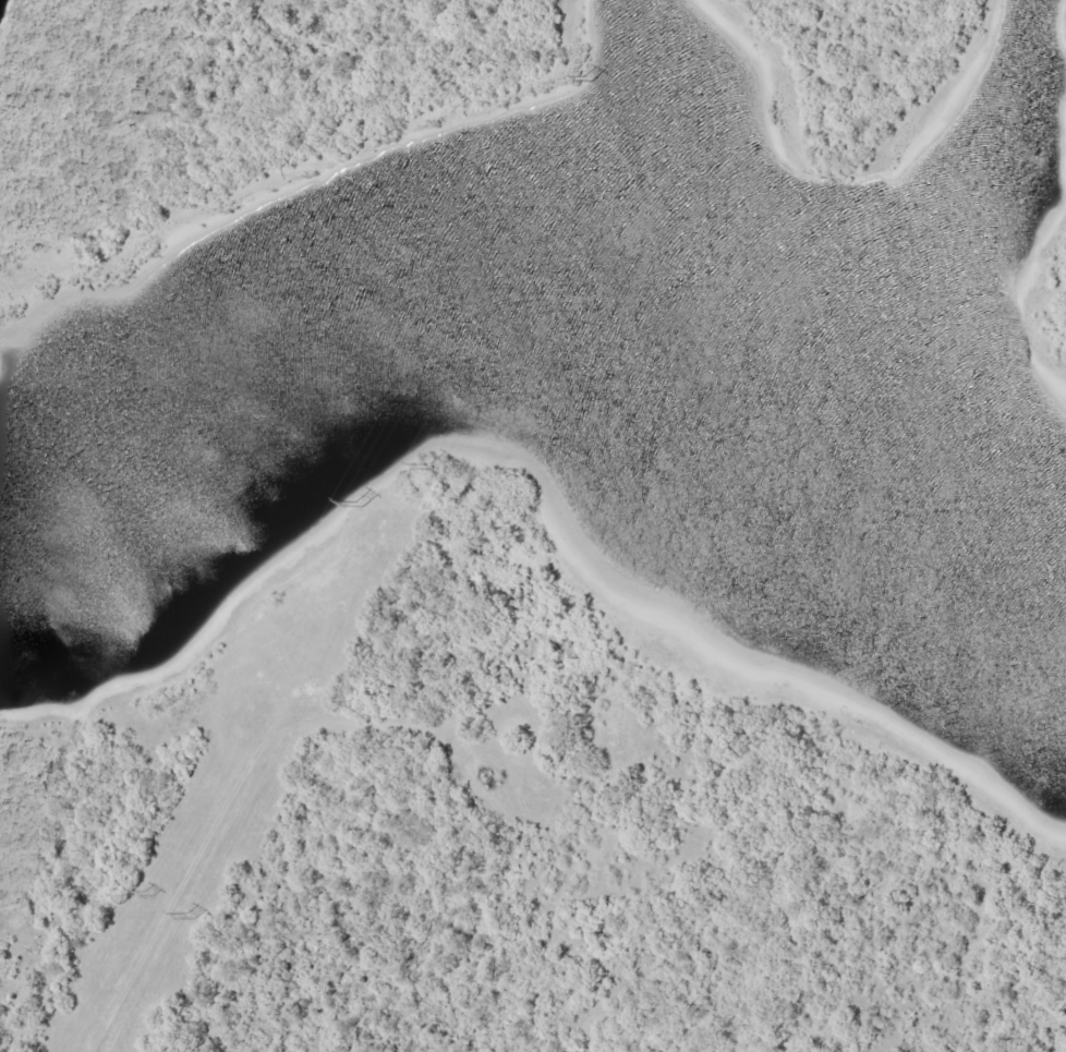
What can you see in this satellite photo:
power tower: (586, 77)
power tower: (431, 467)
power tower: (361, 504)
road: (185, 867)
power tower: (150, 894)
power tower: (190, 917)

